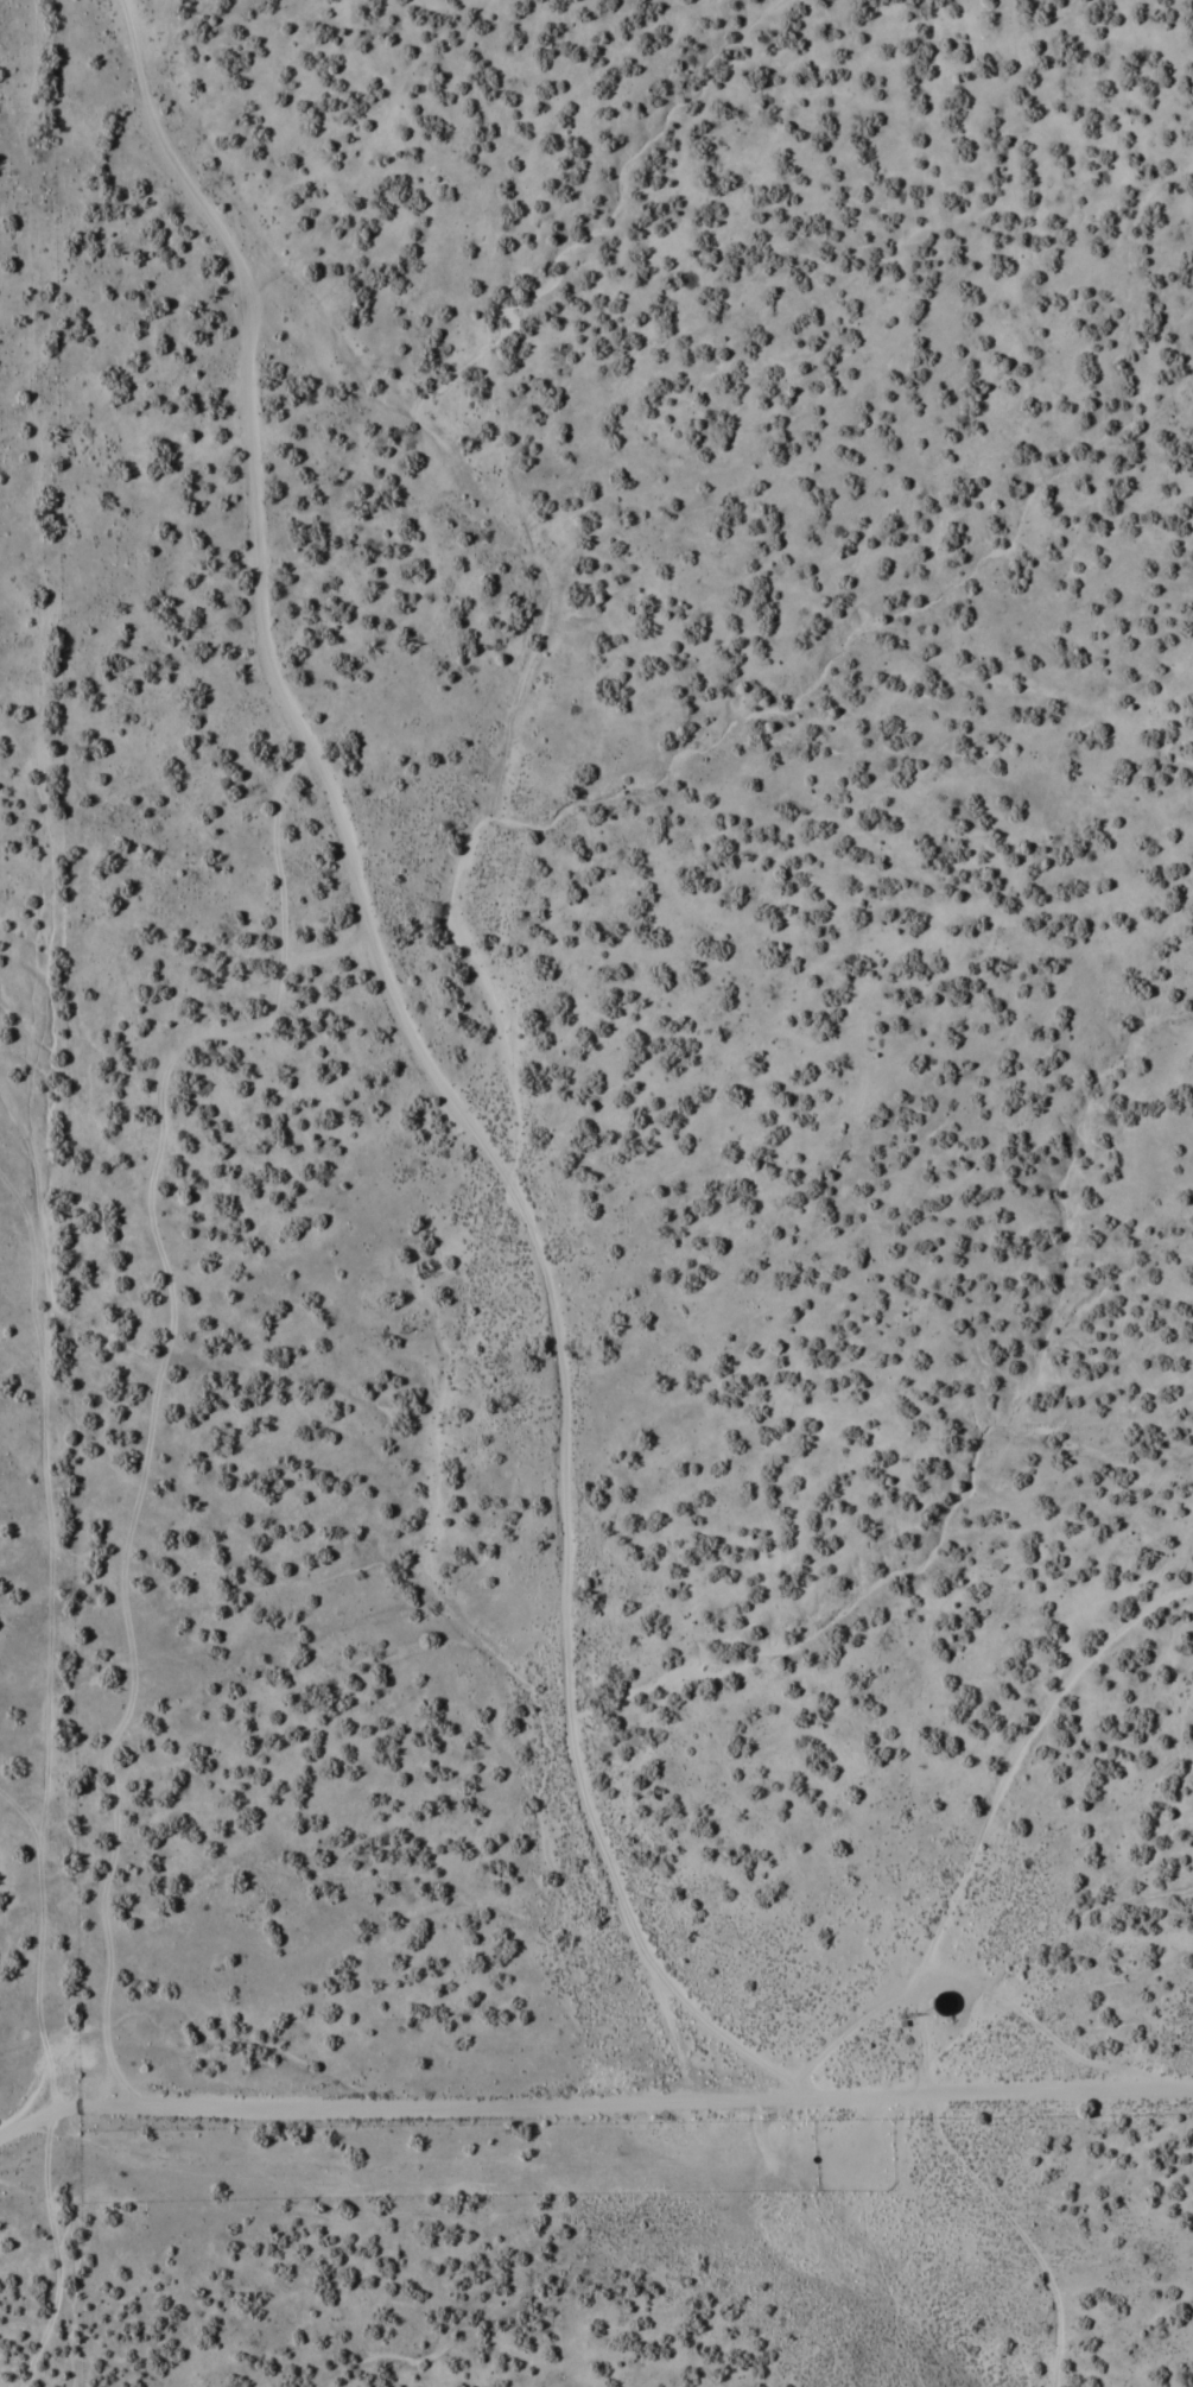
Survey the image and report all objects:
road: (430, 1078)
road: (978, 1819)
building: (939, 2003)
road: (997, 2092)
road: (399, 2109)

